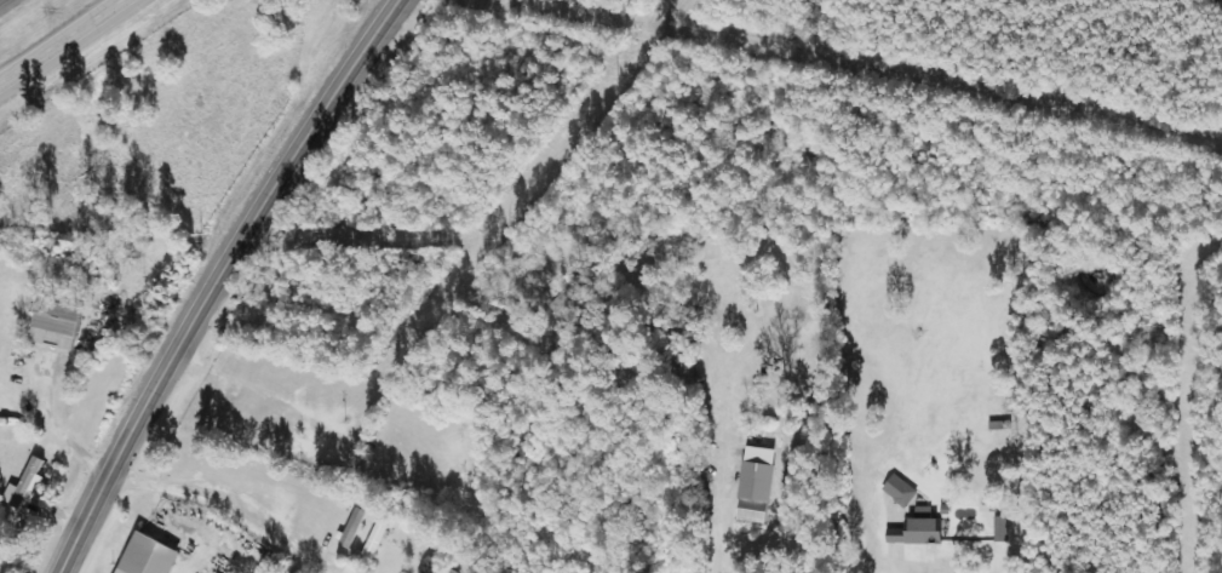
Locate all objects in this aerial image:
road: (57, 38)
road: (217, 279)
building: (53, 325)
building: (25, 482)
building: (755, 482)
building: (900, 488)
building: (351, 526)
building: (919, 526)
building: (1002, 527)
building: (374, 539)
building: (144, 555)
road: (926, 566)
building: (434, 567)

